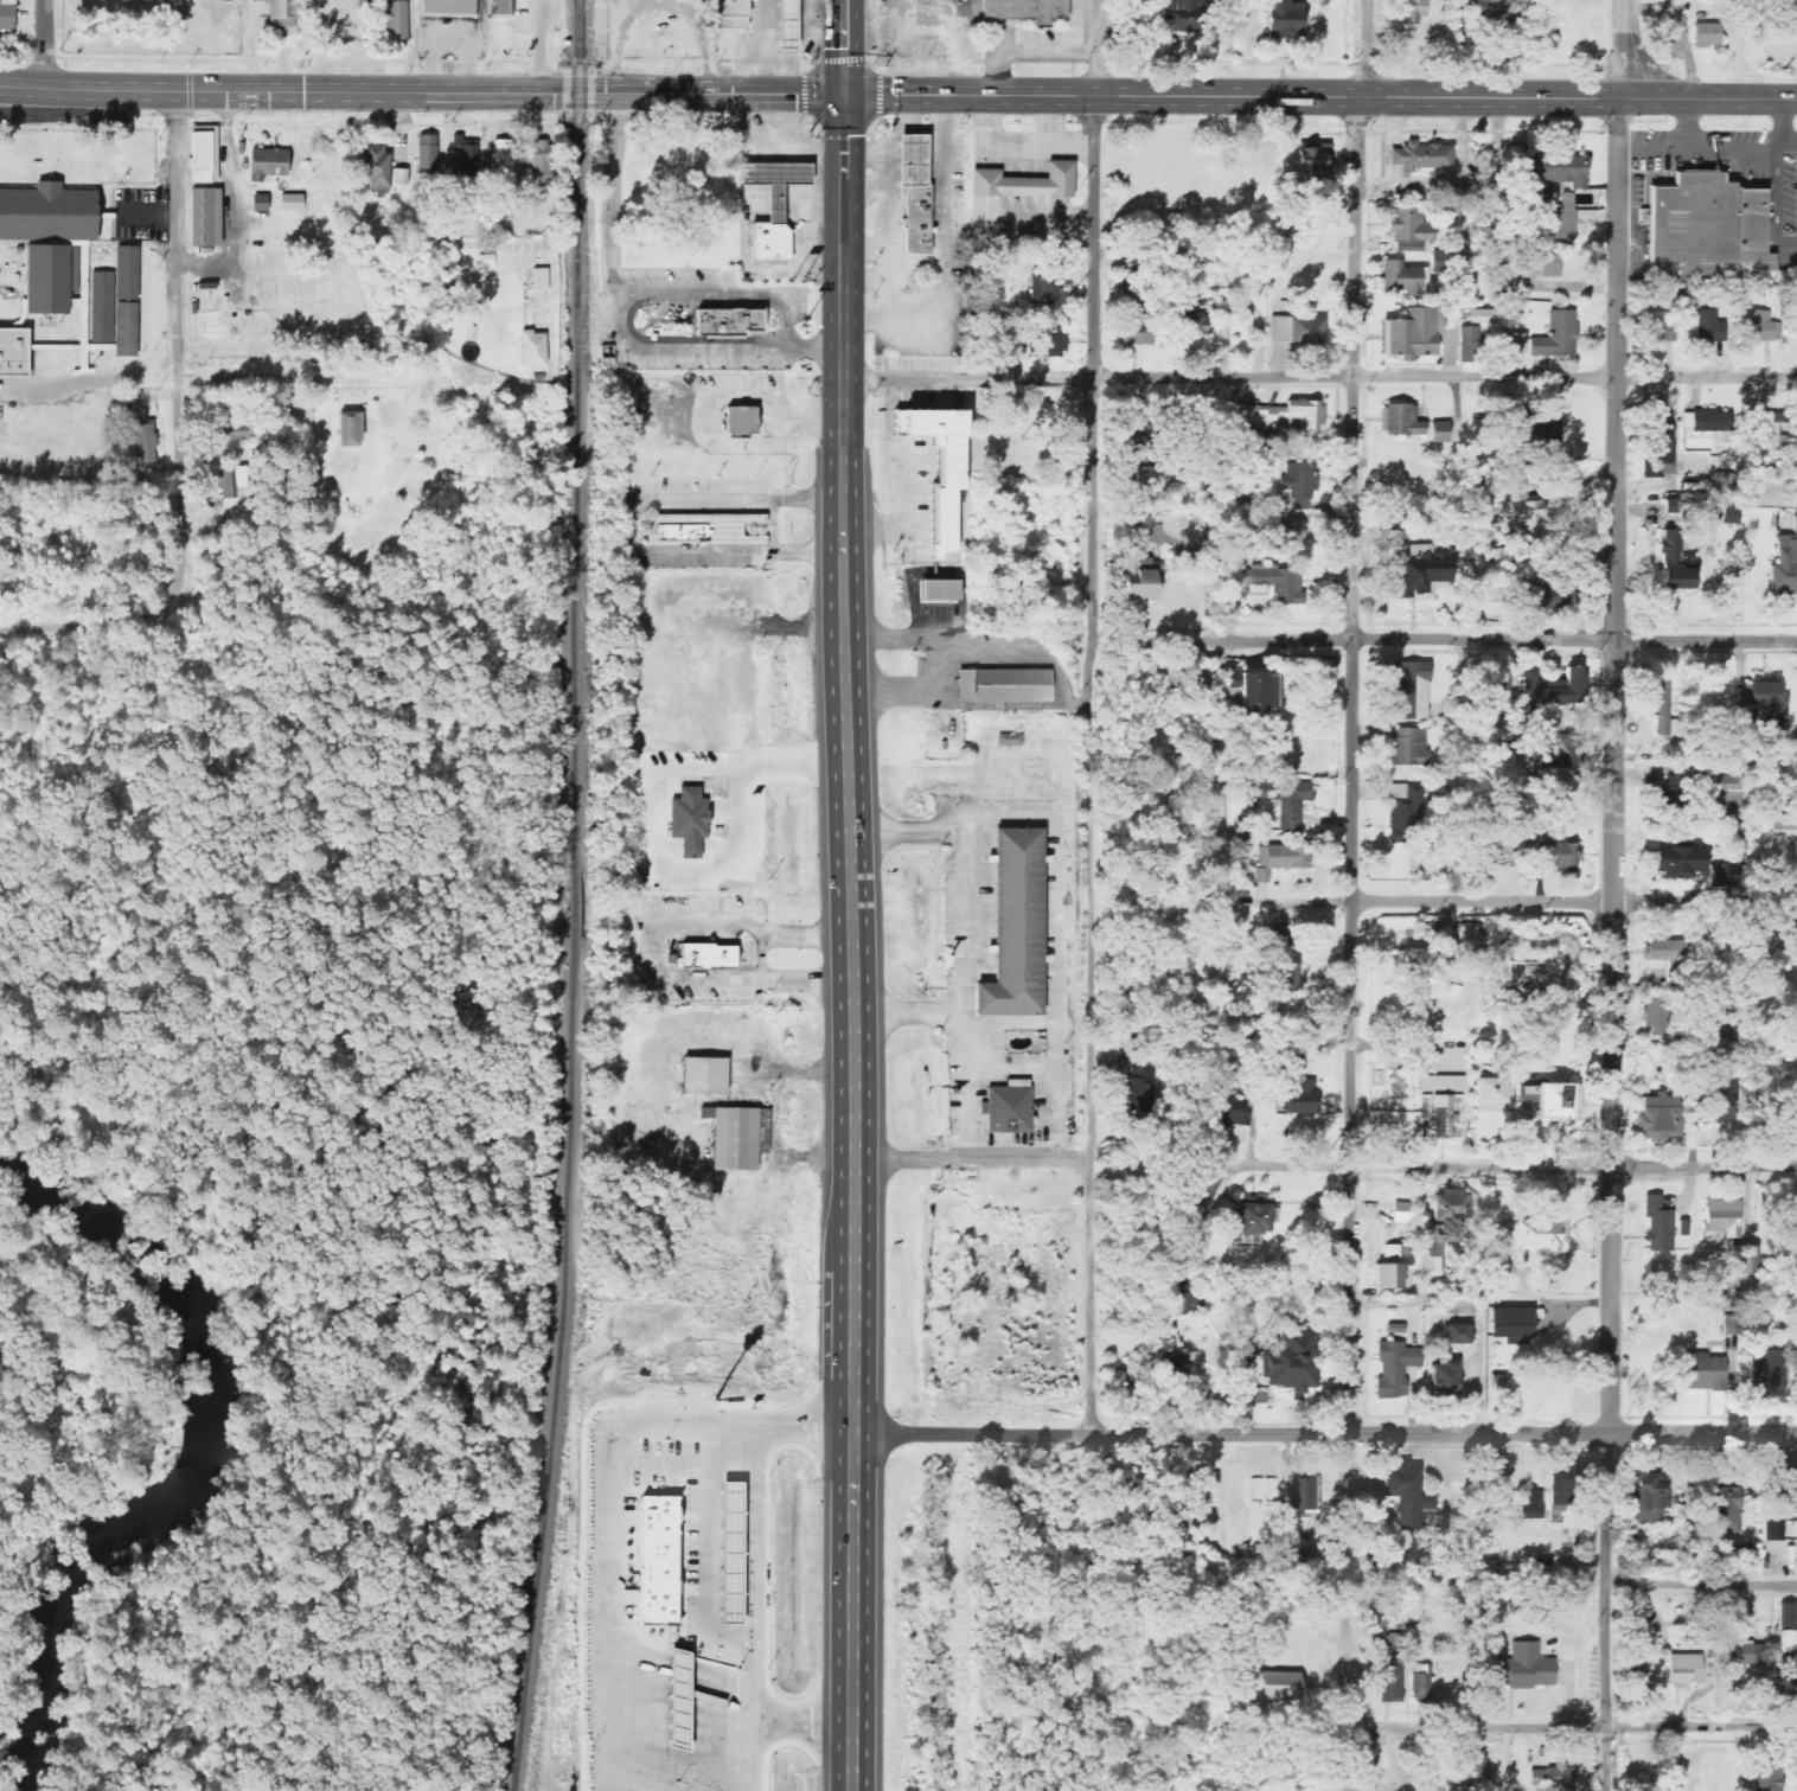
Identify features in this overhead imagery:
building: (946, 0)
building: (497, 6)
building: (447, 7)
building: (1495, 8)
building: (1021, 9)
building: (1412, 12)
building: (281, 13)
building: (7, 14)
building: (729, 15)
building: (1176, 17)
building: (1277, 17)
building: (395, 21)
building: (785, 26)
building: (1703, 34)
road: (45, 44)
road: (539, 46)
road: (846, 46)
road: (1096, 49)
road: (1371, 49)
road: (1630, 49)
road: (422, 92)
traffic signals: (846, 94)
road: (1206, 97)
road: (1682, 98)
road: (1689, 123)
road: (1783, 123)
road: (1394, 141)
road: (1790, 147)
road: (1699, 148)
building: (202, 154)
building: (427, 154)
building: (465, 158)
building: (541, 158)
parking lot: (1374, 158)
building: (1425, 159)
building: (501, 161)
building: (919, 161)
gas station: (919, 161)
building: (266, 162)
building: (1312, 162)
building: (375, 166)
parking lot: (1733, 168)
building: (1559, 169)
building: (401, 177)
building: (779, 181)
gas station: (779, 181)
building: (1022, 181)
road: (1452, 185)
road: (610, 194)
building: (1568, 202)
building: (261, 203)
building: (292, 203)
building: (47, 212)
road: (1776, 212)
building: (1548, 213)
building: (202, 216)
building: (920, 220)
building: (1705, 224)
parking lot: (1638, 225)
building: (1408, 230)
building: (770, 241)
building: (487, 262)
building: (1540, 266)
building: (46, 276)
building: (1405, 279)
building: (541, 280)
building: (1045, 287)
building: (110, 292)
building: (1187, 298)
building: (1479, 316)
building: (735, 324)
building: (123, 327)
building: (1659, 327)
building: (1710, 327)
building: (1761, 327)
building: (1279, 330)
building: (1307, 331)
building: (1412, 334)
building: (1558, 337)
building: (1134, 339)
building: (1043, 340)
building: (1517, 344)
building: (1471, 345)
road: (782, 348)
road: (818, 348)
building: (11, 350)
building: (533, 351)
road: (178, 363)
road: (267, 376)
road: (88, 378)
road: (1322, 378)
building: (1305, 416)
building: (1254, 417)
building: (746, 421)
building: (1710, 421)
building: (1401, 422)
building: (1537, 423)
building: (347, 429)
building: (1439, 430)
building: (1773, 431)
building: (1126, 435)
building: (146, 443)
building: (939, 468)
building: (1140, 475)
building: (234, 484)
building: (1300, 485)
building: (1693, 510)
building: (1732, 513)
building: (1524, 518)
building: (1401, 524)
road: (775, 526)
road: (631, 529)
building: (1130, 529)
building: (686, 533)
building: (1298, 533)
building: (1676, 561)
building: (1785, 564)
building: (1420, 573)
building: (1137, 577)
building: (1271, 582)
building: (940, 590)
building: (1562, 602)
building: (1542, 606)
road: (90, 635)
road: (1444, 640)
building: (1179, 678)
building: (1009, 685)
building: (1555, 690)
building: (1412, 691)
building: (1252, 693)
building: (1765, 704)
building: (1662, 711)
building: (1010, 741)
building: (1406, 747)
building: (1562, 750)
road: (1092, 766)
building: (1726, 791)
building: (1675, 797)
building: (1287, 799)
building: (1403, 814)
road: (1063, 837)
road: (1352, 838)
building: (1562, 856)
building: (1280, 859)
building: (1677, 861)
building: (1722, 875)
railway: (580, 896)
road: (1443, 900)
building: (1011, 926)
building: (1467, 935)
road: (856, 941)
road: (963, 944)
road: (1614, 945)
road: (657, 948)
building: (1659, 949)
building: (714, 955)
building: (1418, 962)
building: (1284, 965)
road: (909, 1011)
building: (1655, 1013)
building: (1729, 1026)
road: (1010, 1067)
building: (701, 1076)
building: (1139, 1090)
building: (1485, 1090)
building: (1795, 1092)
building: (1300, 1096)
building: (1543, 1101)
building: (1715, 1101)
building: (1439, 1105)
building: (1006, 1108)
building: (1233, 1111)
building: (1659, 1119)
building: (733, 1139)
road: (1326, 1164)
building: (1253, 1217)
building: (1722, 1217)
building: (1184, 1220)
building: (1658, 1226)
building: (1444, 1228)
building: (1795, 1233)
building: (1533, 1234)
building: (1393, 1256)
building: (1742, 1260)
building: (1388, 1277)
building: (1462, 1284)
building: (1184, 1300)
building: (1516, 1324)
building: (1457, 1335)
building: (1291, 1361)
building: (1394, 1368)
building: (1703, 1373)
building: (1444, 1377)
building: (1765, 1377)
road: (1326, 1433)
river: (209, 1460)
building: (1560, 1489)
building: (1789, 1490)
building: (1648, 1493)
building: (1305, 1495)
building: (1405, 1496)
building: (1531, 1504)
building: (1726, 1510)
building: (1772, 1530)
building: (729, 1553)
building: (1745, 1556)
building: (657, 1560)
road: (1572, 1582)
building: (1636, 1629)
building: (1789, 1649)
building: (1745, 1654)
building: (1526, 1668)
building: (1686, 1668)
building: (1392, 1683)
road: (1348, 1684)
building: (1273, 1686)
building: (1637, 1687)
road: (1572, 1727)
building: (1477, 1768)
building: (1552, 1776)
building: (1767, 1777)

